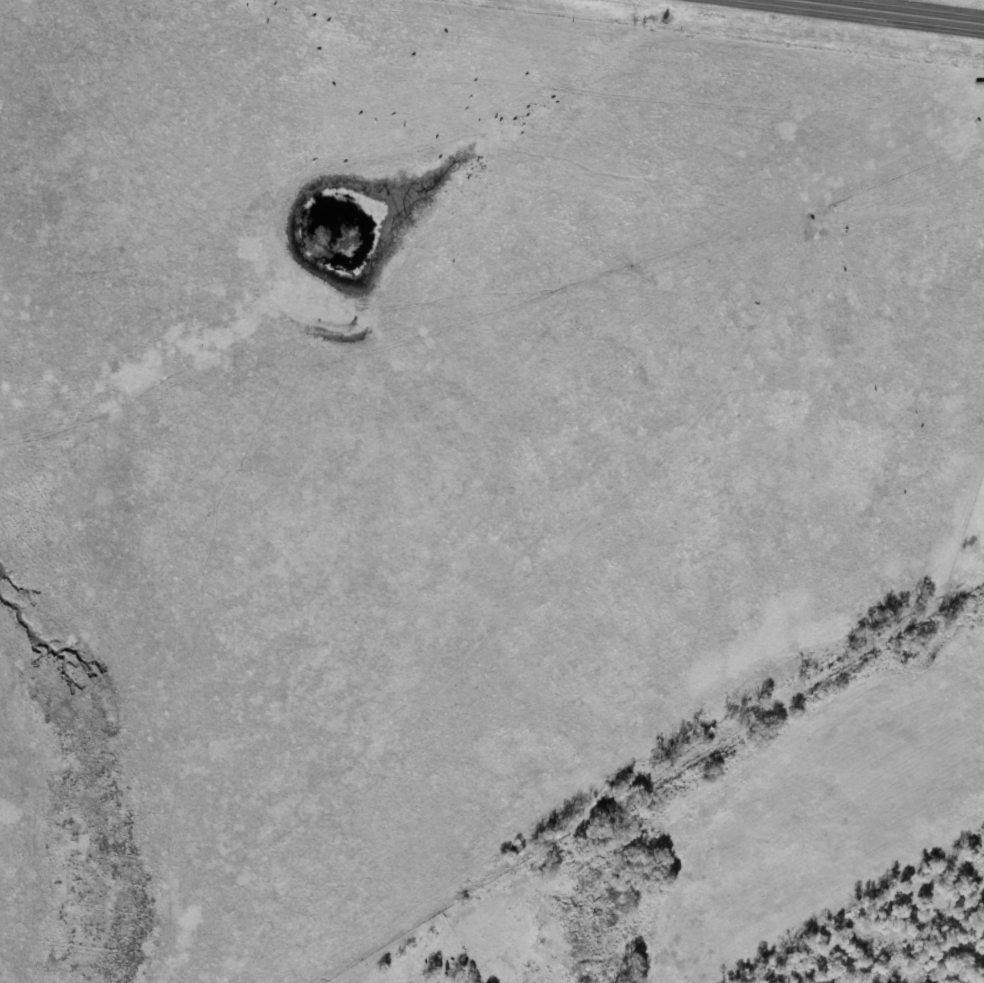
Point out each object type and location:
road: (932, 6)

